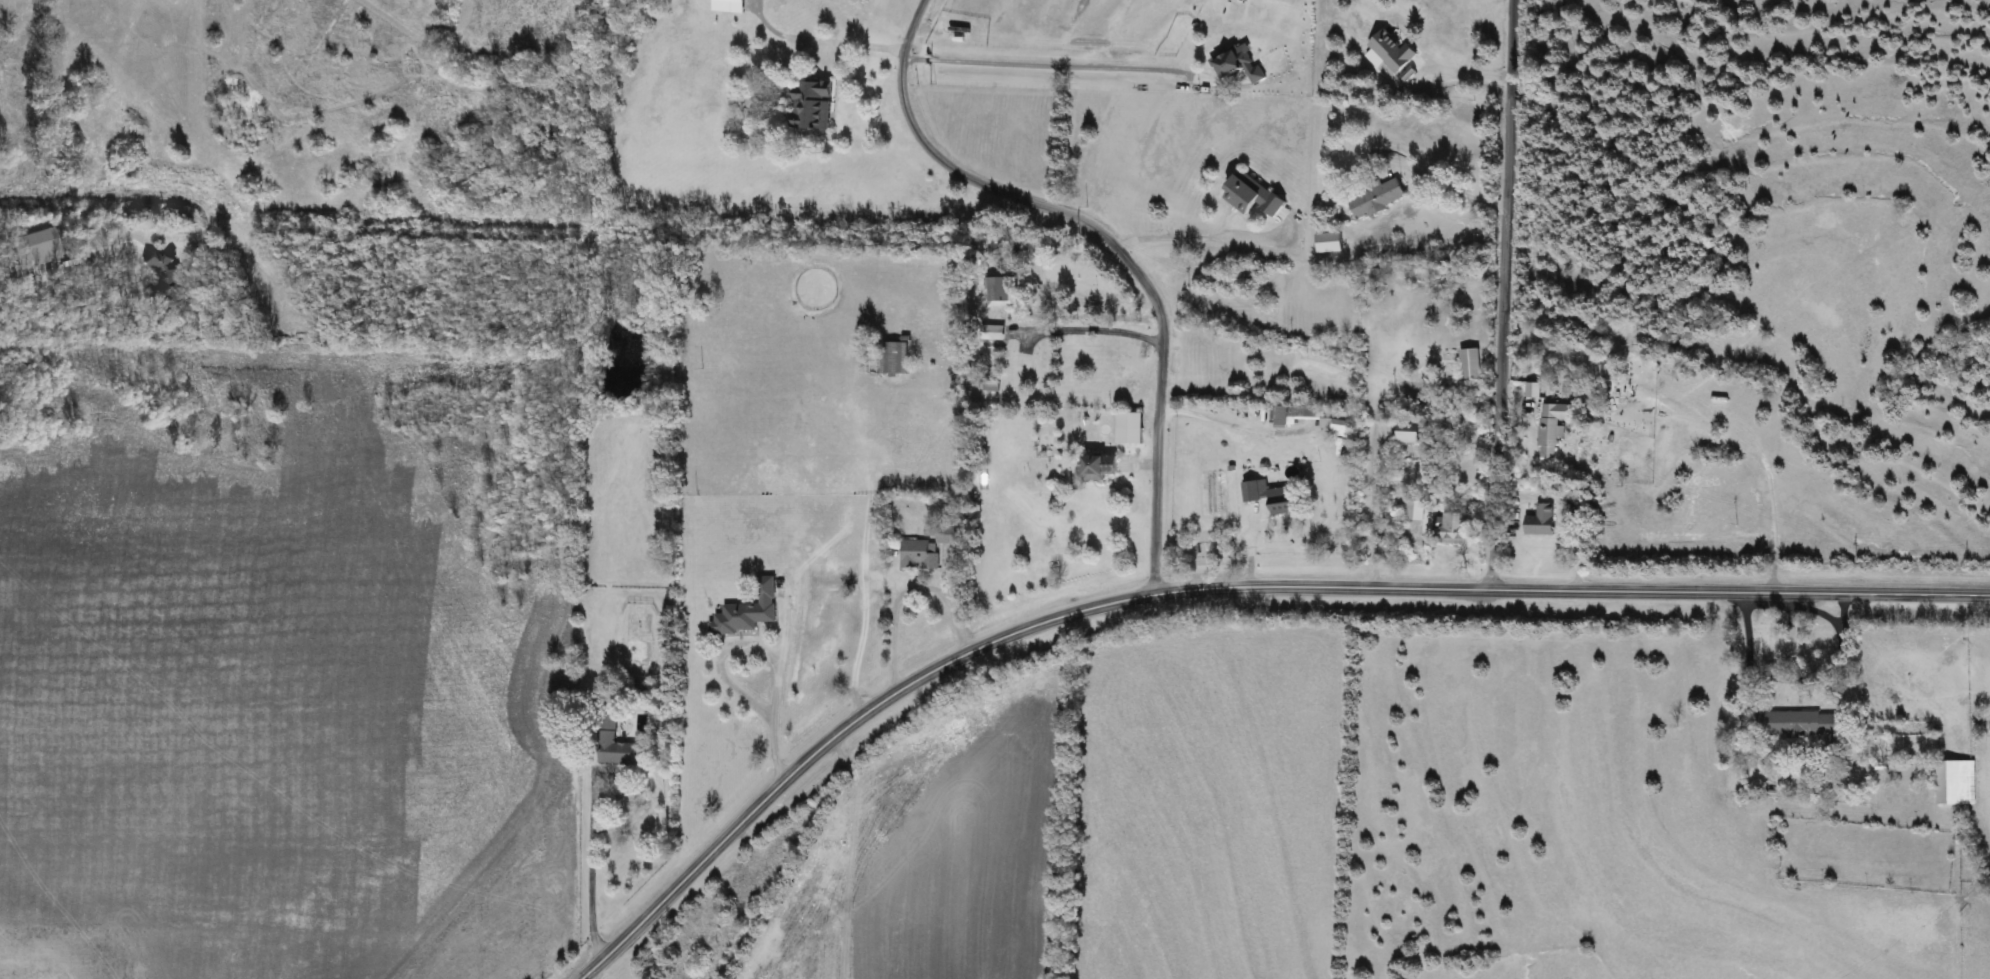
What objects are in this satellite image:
building: (729, 6)
road: (824, 35)
building: (1391, 50)
building: (1238, 63)
road: (1050, 64)
road: (1462, 73)
building: (813, 104)
road: (1446, 180)
building: (1252, 195)
building: (1378, 197)
road: (1203, 239)
building: (1329, 242)
road: (1109, 243)
road: (18, 277)
building: (165, 281)
road: (131, 286)
building: (1000, 289)
road: (1501, 294)
road: (1102, 330)
building: (894, 358)
building: (1470, 364)
building: (992, 384)
building: (1532, 390)
building: (1308, 413)
road: (1226, 416)
building: (1342, 425)
building: (1551, 427)
building: (1409, 432)
building: (1101, 466)
road: (1368, 476)
building: (1271, 496)
building: (1541, 521)
building: (1456, 528)
building: (946, 535)
building: (918, 555)
road: (1218, 586)
road: (904, 594)
road: (1844, 607)
building: (747, 612)
road: (1790, 633)
road: (1745, 645)
road: (1832, 655)
building: (1803, 724)
road: (770, 727)
building: (616, 744)
building: (1956, 781)
road: (590, 866)
road: (591, 975)

